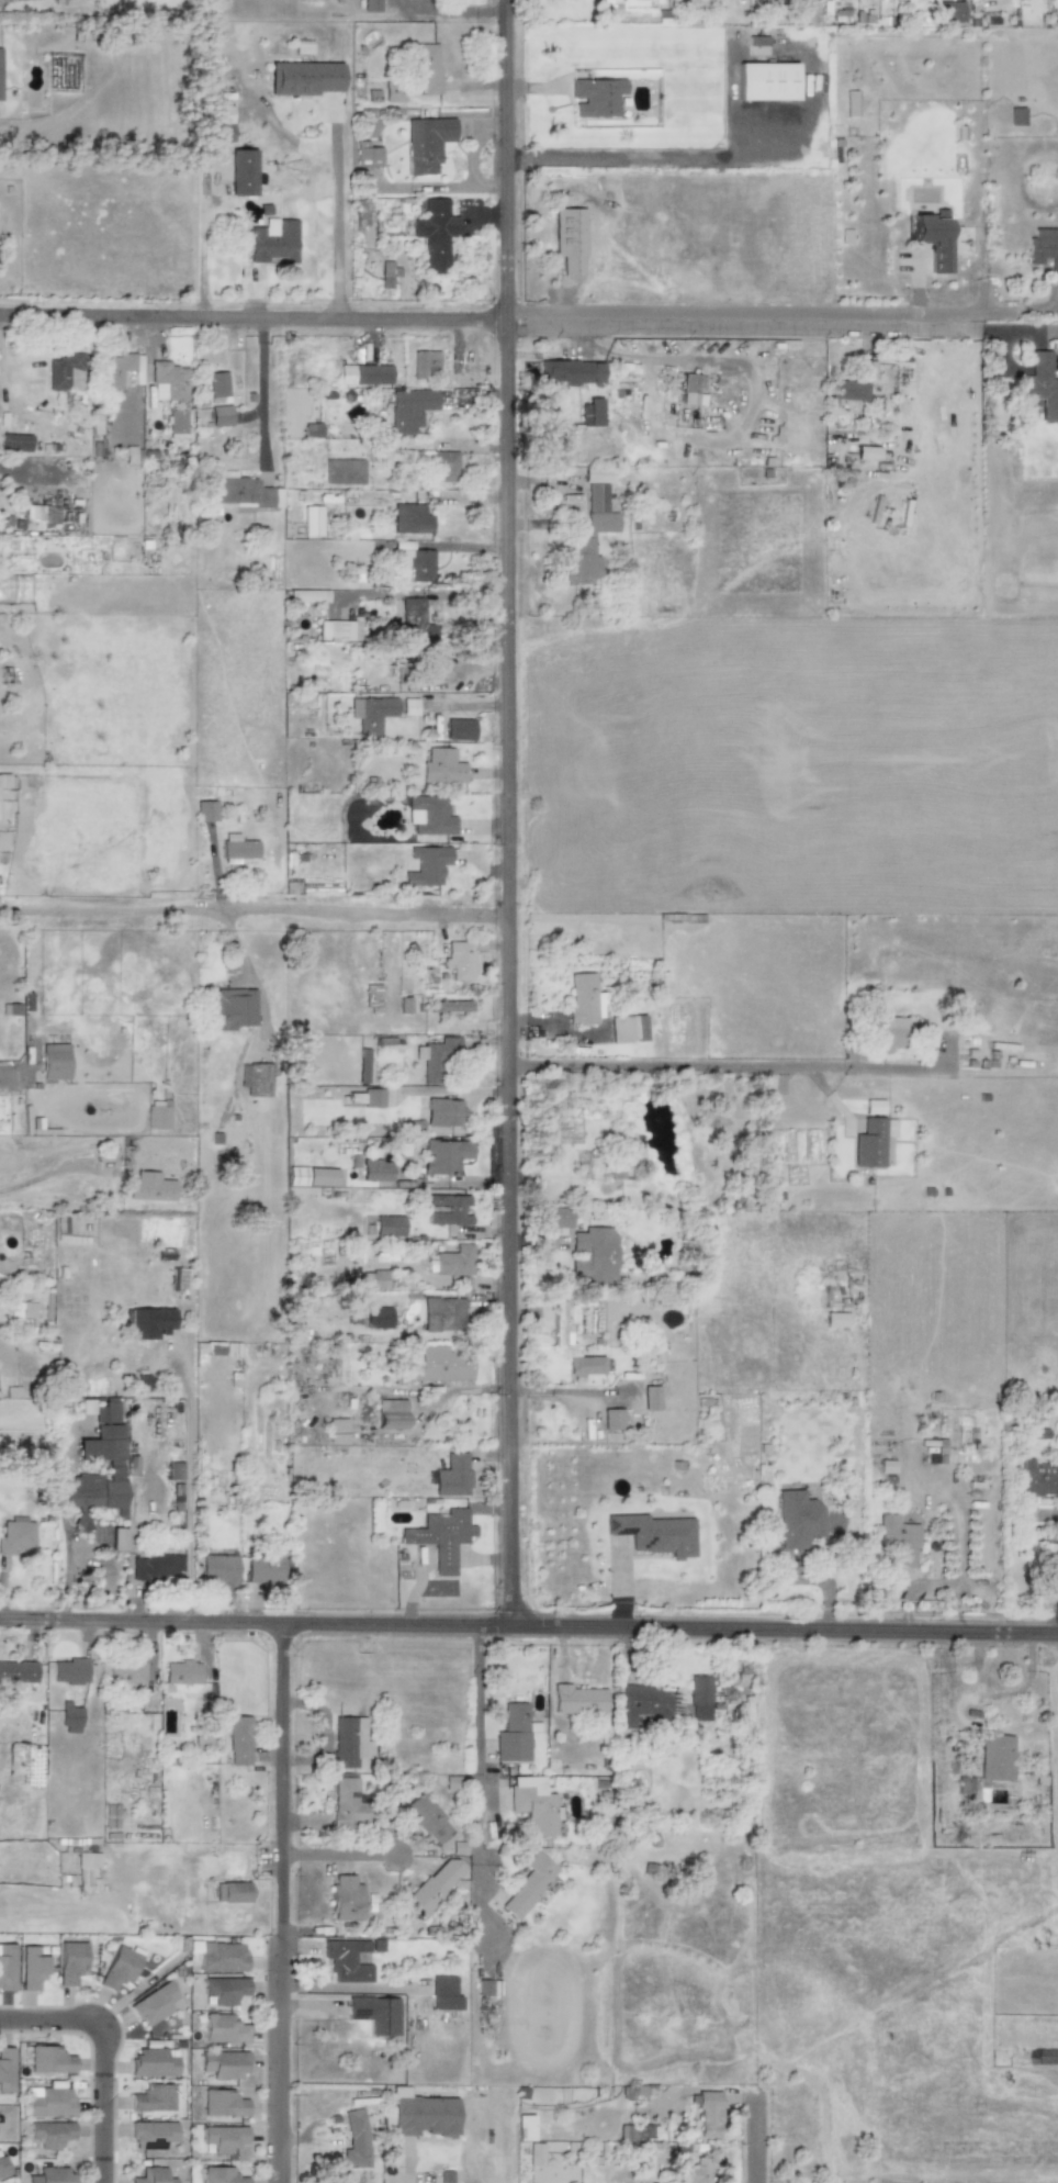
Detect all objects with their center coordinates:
building: (59, 2)
building: (620, 4)
building: (371, 5)
building: (950, 11)
road: (453, 12)
building: (426, 68)
building: (304, 78)
building: (766, 81)
building: (0, 82)
building: (393, 93)
building: (596, 97)
building: (851, 103)
building: (220, 122)
building: (426, 143)
building: (367, 155)
road: (648, 160)
building: (241, 172)
building: (436, 233)
road: (333, 236)
building: (274, 240)
building: (1044, 248)
building: (387, 273)
road: (1039, 305)
road: (764, 313)
road: (486, 327)
building: (425, 363)
building: (866, 369)
building: (115, 370)
building: (66, 372)
building: (571, 372)
building: (363, 374)
building: (169, 381)
building: (218, 384)
building: (1042, 385)
building: (691, 390)
building: (847, 390)
road: (266, 395)
building: (410, 408)
building: (589, 413)
building: (221, 416)
building: (178, 424)
building: (312, 430)
building: (14, 441)
building: (866, 452)
road: (31, 464)
building: (444, 467)
building: (344, 471)
building: (244, 492)
building: (41, 517)
building: (410, 518)
building: (312, 520)
building: (590, 529)
building: (417, 562)
building: (307, 595)
building: (415, 620)
building: (340, 629)
road: (466, 705)
building: (371, 713)
building: (459, 729)
building: (442, 766)
building: (3, 780)
building: (205, 810)
road: (515, 811)
building: (430, 815)
building: (237, 849)
building: (427, 865)
road: (258, 922)
building: (459, 960)
building: (373, 997)
building: (583, 1000)
building: (405, 1005)
building: (450, 1007)
building: (230, 1009)
building: (627, 1028)
building: (890, 1033)
building: (437, 1057)
building: (54, 1061)
building: (363, 1065)
road: (673, 1067)
building: (256, 1078)
building: (372, 1098)
building: (874, 1107)
building: (442, 1112)
building: (157, 1115)
building: (871, 1142)
building: (444, 1156)
building: (376, 1169)
building: (616, 1171)
road: (50, 1173)
building: (312, 1176)
building: (149, 1187)
building: (449, 1210)
building: (555, 1217)
building: (389, 1225)
building: (593, 1254)
building: (454, 1262)
building: (179, 1279)
building: (373, 1279)
building: (22, 1313)
building: (443, 1314)
building: (378, 1318)
building: (835, 1319)
building: (147, 1322)
building: (560, 1324)
building: (439, 1365)
building: (585, 1366)
building: (650, 1397)
building: (391, 1413)
building: (611, 1419)
building: (337, 1430)
building: (100, 1449)
building: (887, 1466)
building: (175, 1470)
building: (452, 1476)
building: (1037, 1477)
road: (187, 1490)
building: (798, 1520)
building: (654, 1534)
building: (15, 1536)
building: (441, 1536)
building: (116, 1538)
building: (897, 1541)
building: (158, 1566)
building: (218, 1568)
building: (264, 1569)
road: (529, 1625)
building: (70, 1670)
building: (18, 1671)
building: (125, 1672)
building: (181, 1672)
building: (698, 1698)
building: (577, 1700)
building: (641, 1705)
building: (513, 1734)
road: (477, 1739)
building: (238, 1740)
building: (348, 1742)
building: (994, 1757)
building: (347, 1804)
building: (533, 1805)
building: (427, 1818)
road: (341, 1855)
building: (88, 1859)
building: (528, 1883)
building: (432, 1885)
building: (230, 1892)
building: (345, 1897)
road: (285, 1903)
building: (220, 1956)
building: (349, 1959)
building: (70, 1961)
building: (7, 1966)
building: (32, 1968)
building: (119, 1968)
building: (224, 1990)
building: (443, 1993)
building: (154, 2004)
building: (374, 2014)
building: (224, 2028)
road: (100, 2053)
building: (49, 2059)
building: (154, 2062)
building: (223, 2064)
building: (5, 2069)
building: (154, 2098)
building: (48, 2102)
building: (223, 2104)
building: (708, 2114)
building: (426, 2116)
road: (764, 2126)
building: (637, 2131)
building: (50, 2134)
building: (153, 2135)
building: (223, 2138)
building: (354, 2139)
building: (534, 2154)
building: (2, 2168)
building: (50, 2175)
building: (220, 2175)

